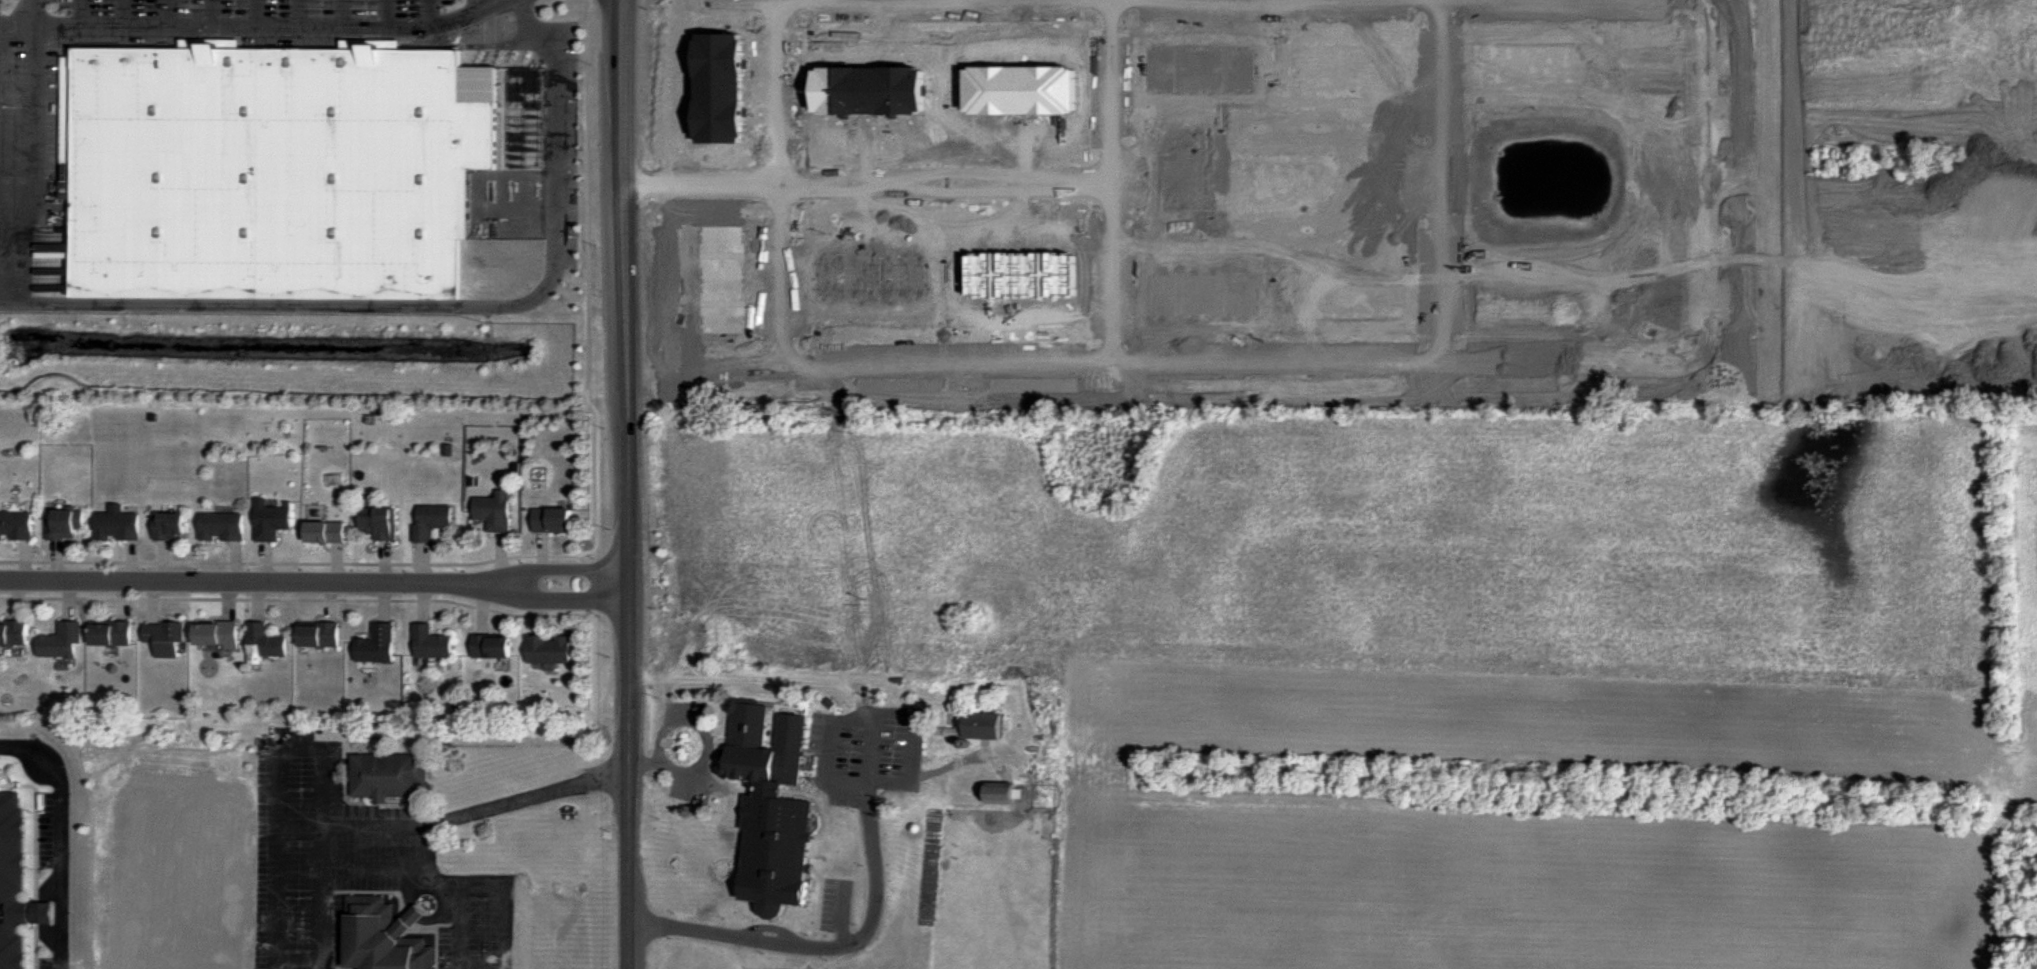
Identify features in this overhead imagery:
road: (475, 5)
road: (82, 13)
road: (125, 13)
road: (167, 13)
road: (211, 13)
road: (257, 13)
road: (301, 13)
road: (342, 13)
road: (429, 13)
road: (388, 14)
road: (524, 22)
crop: (1270, 22)
road: (19, 26)
road: (259, 27)
road: (467, 46)
road: (554, 93)
parking lot: (564, 96)
parking lot: (29, 119)
crop: (1397, 122)
road: (38, 140)
building: (287, 167)
road: (754, 184)
road: (588, 289)
crop: (1313, 290)
road: (335, 304)
road: (633, 484)
building: (497, 511)
building: (555, 520)
building: (433, 521)
building: (273, 522)
building: (382, 522)
building: (65, 523)
building: (118, 524)
building: (17, 525)
building: (170, 526)
building: (223, 526)
building: (328, 532)
road: (543, 554)
road: (25, 561)
road: (58, 562)
road: (132, 562)
road: (163, 562)
road: (502, 562)
road: (235, 563)
road: (266, 563)
road: (289, 563)
road: (337, 564)
road: (425, 564)
road: (555, 573)
road: (385, 582)
crop: (1390, 582)
road: (239, 585)
road: (17, 601)
road: (321, 601)
road: (555, 601)
crop: (2030, 601)
road: (67, 602)
road: (120, 602)
road: (329, 603)
road: (537, 603)
road: (150, 604)
road: (227, 604)
road: (257, 604)
road: (425, 605)
road: (480, 610)
building: (13, 633)
building: (112, 633)
building: (319, 635)
building: (216, 636)
building: (164, 639)
building: (62, 642)
building: (265, 642)
building: (432, 643)
building: (377, 645)
building: (493, 645)
building: (550, 650)
road: (818, 685)
building: (984, 724)
building: (750, 730)
road: (711, 732)
road: (913, 748)
road: (660, 756)
road: (647, 762)
road: (279, 771)
building: (390, 774)
building: (1000, 792)
road: (300, 831)
road: (58, 838)
road: (424, 848)
road: (324, 849)
building: (12, 875)
road: (406, 890)
crop: (1497, 890)
road: (506, 908)
building: (41, 911)
road: (838, 913)
road: (419, 914)
road: (440, 921)
road: (457, 928)
building: (388, 937)
road: (826, 945)

